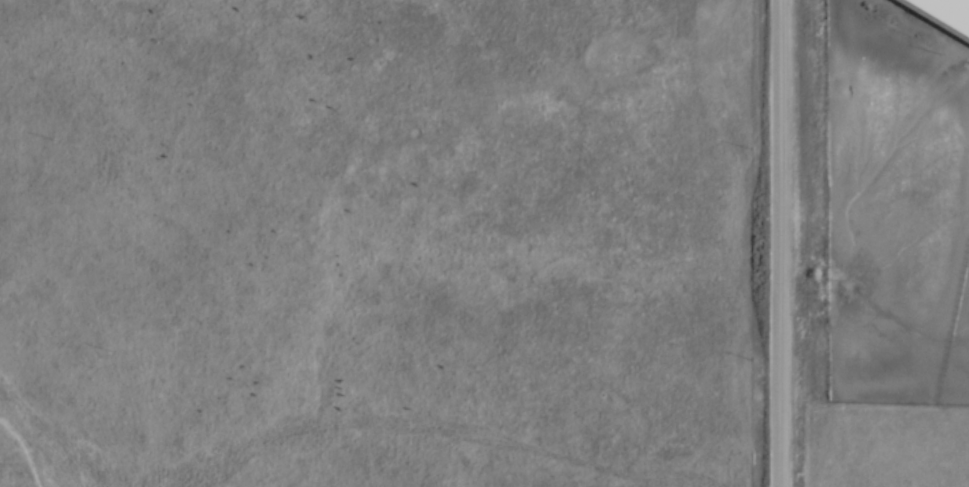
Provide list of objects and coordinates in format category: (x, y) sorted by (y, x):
road: (780, 243)

